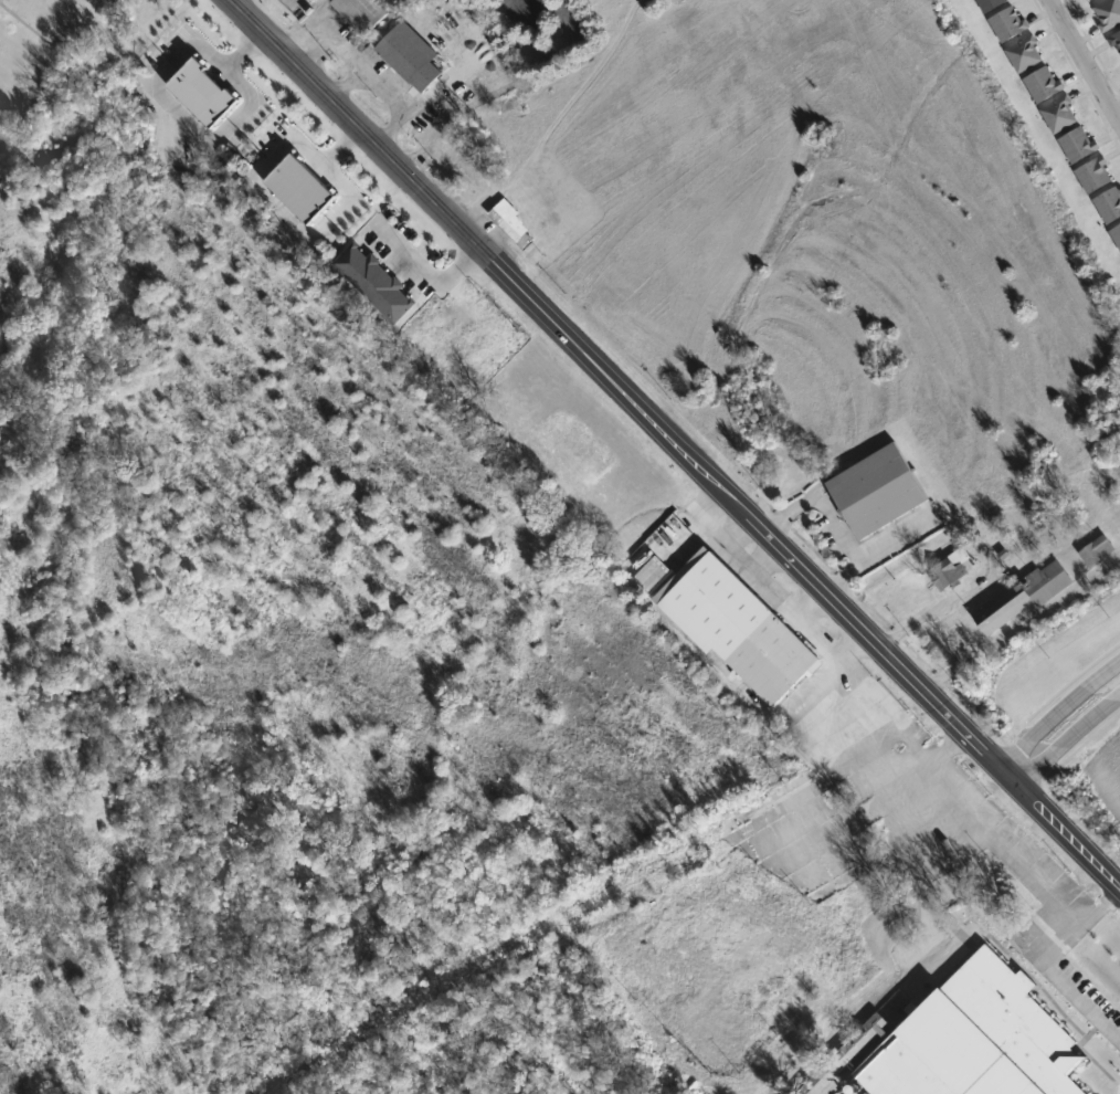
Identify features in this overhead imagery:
building: (1097, 0)
building: (991, 4)
building: (363, 14)
building: (1109, 14)
building: (1010, 25)
building: (1117, 42)
building: (404, 50)
building: (1025, 55)
road: (1082, 62)
building: (1044, 85)
building: (201, 92)
building: (1060, 116)
building: (1078, 146)
building: (1096, 176)
building: (296, 188)
building: (1110, 206)
building: (509, 223)
building: (1117, 235)
building: (371, 281)
road: (672, 441)
building: (876, 487)
road: (831, 520)
parking lot: (894, 536)
road: (895, 540)
building: (1100, 550)
building: (1023, 597)
building: (736, 624)
road: (1057, 709)
road: (1067, 737)
parking lot: (859, 790)
road: (1005, 838)
road: (1060, 972)
parking lot: (1084, 998)
building: (974, 1039)

